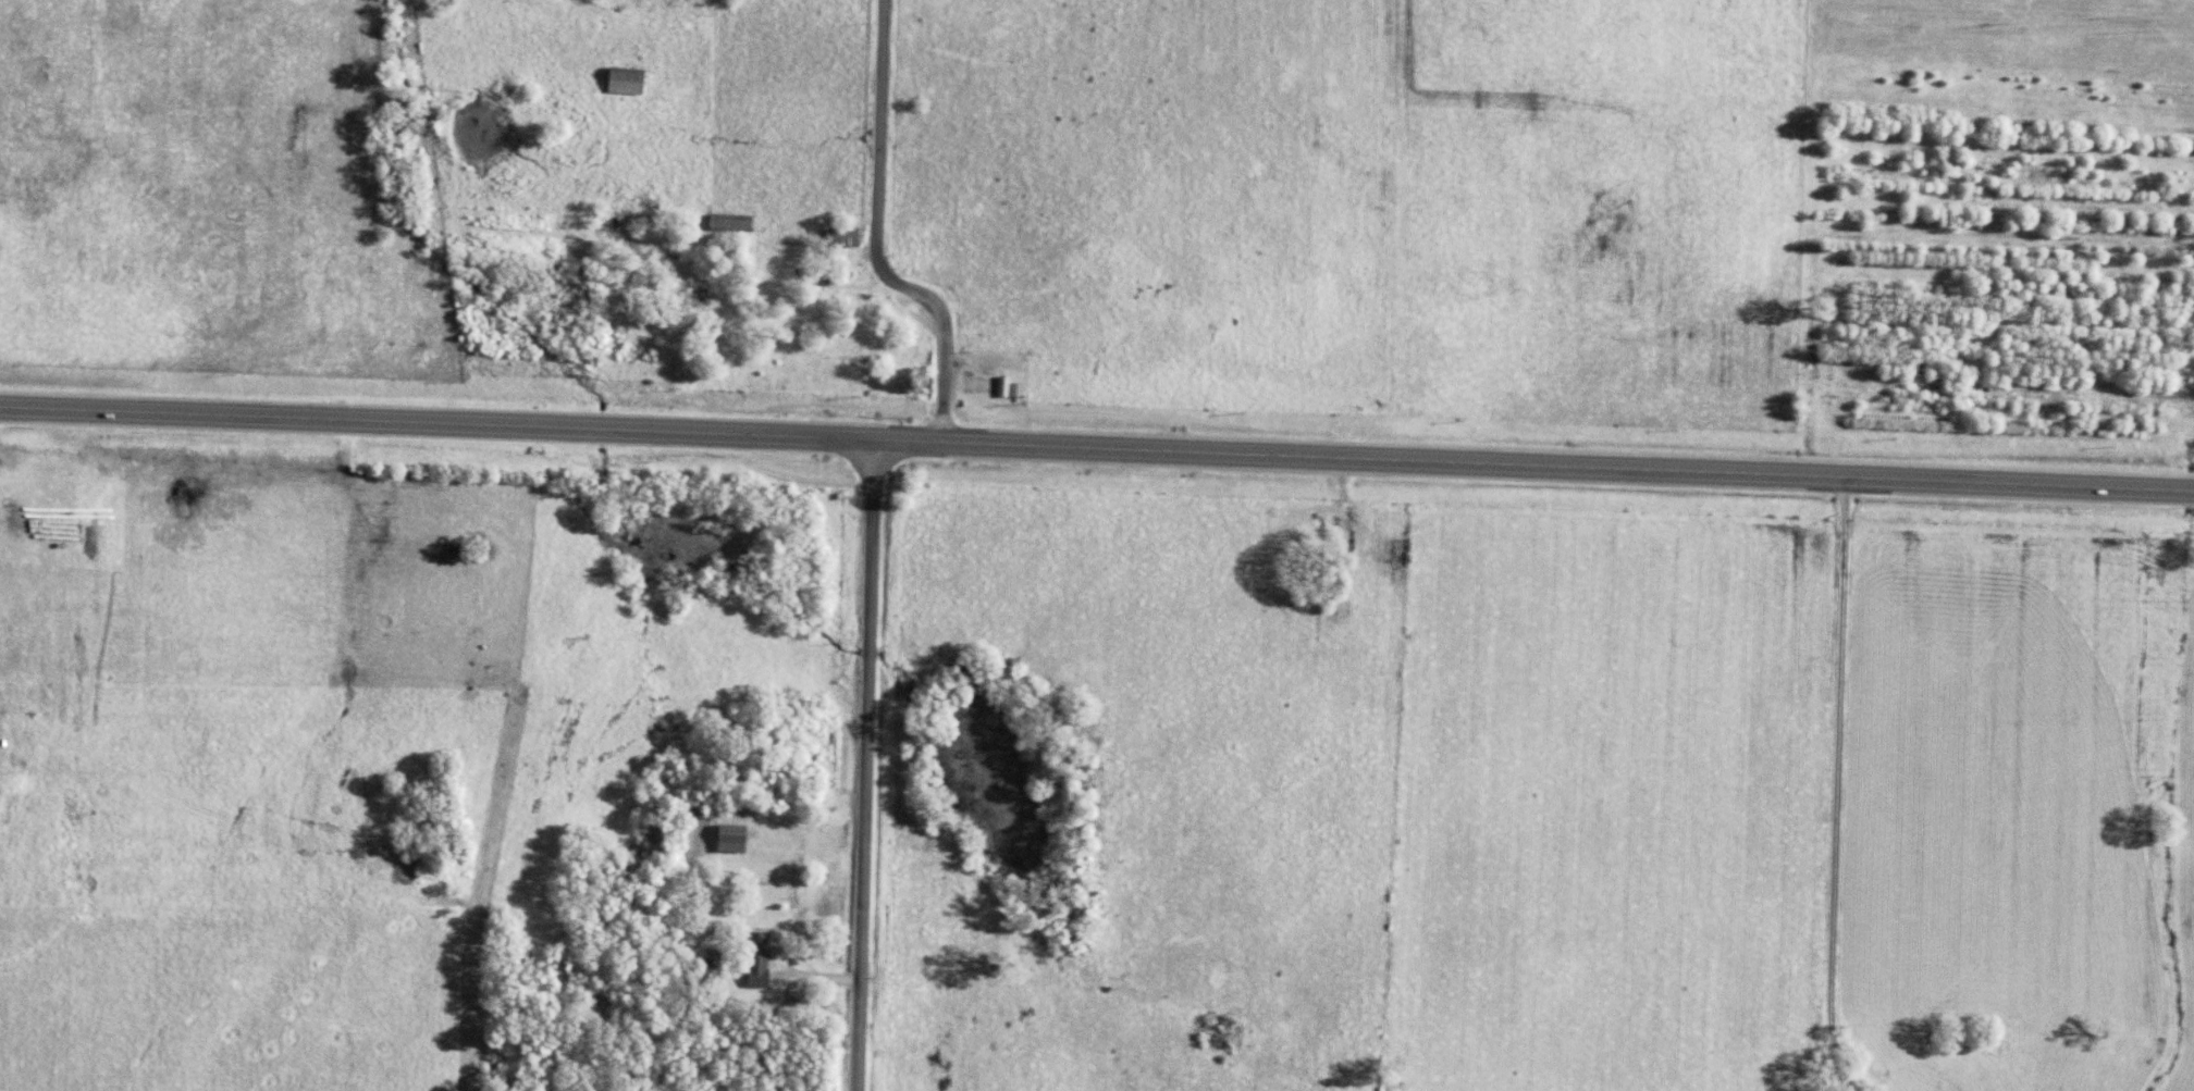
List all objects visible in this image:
building: (624, 78)
road: (872, 137)
road: (938, 343)
road: (433, 426)
road: (1530, 469)
road: (860, 767)
road: (1827, 786)
building: (729, 836)
building: (755, 957)

